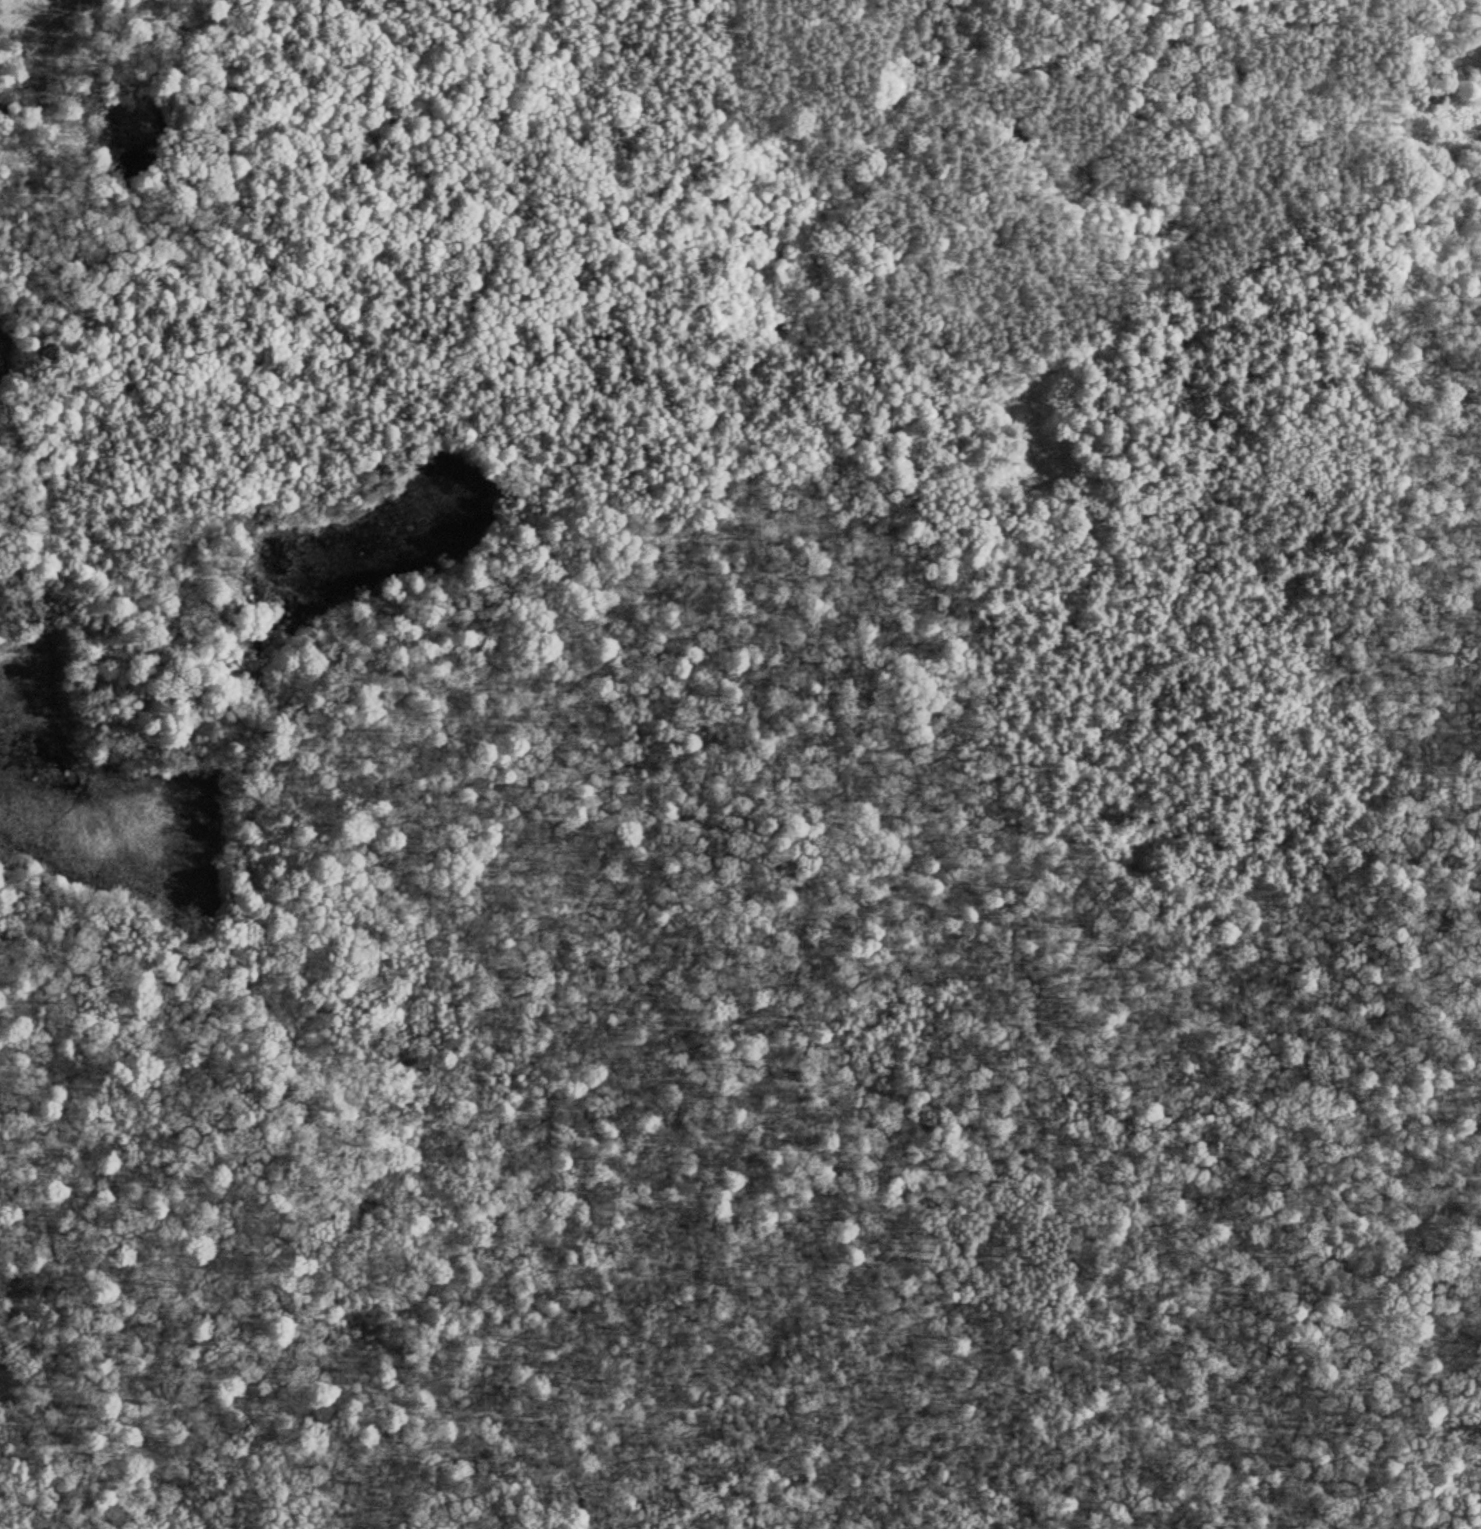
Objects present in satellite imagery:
road: (649, 560)

